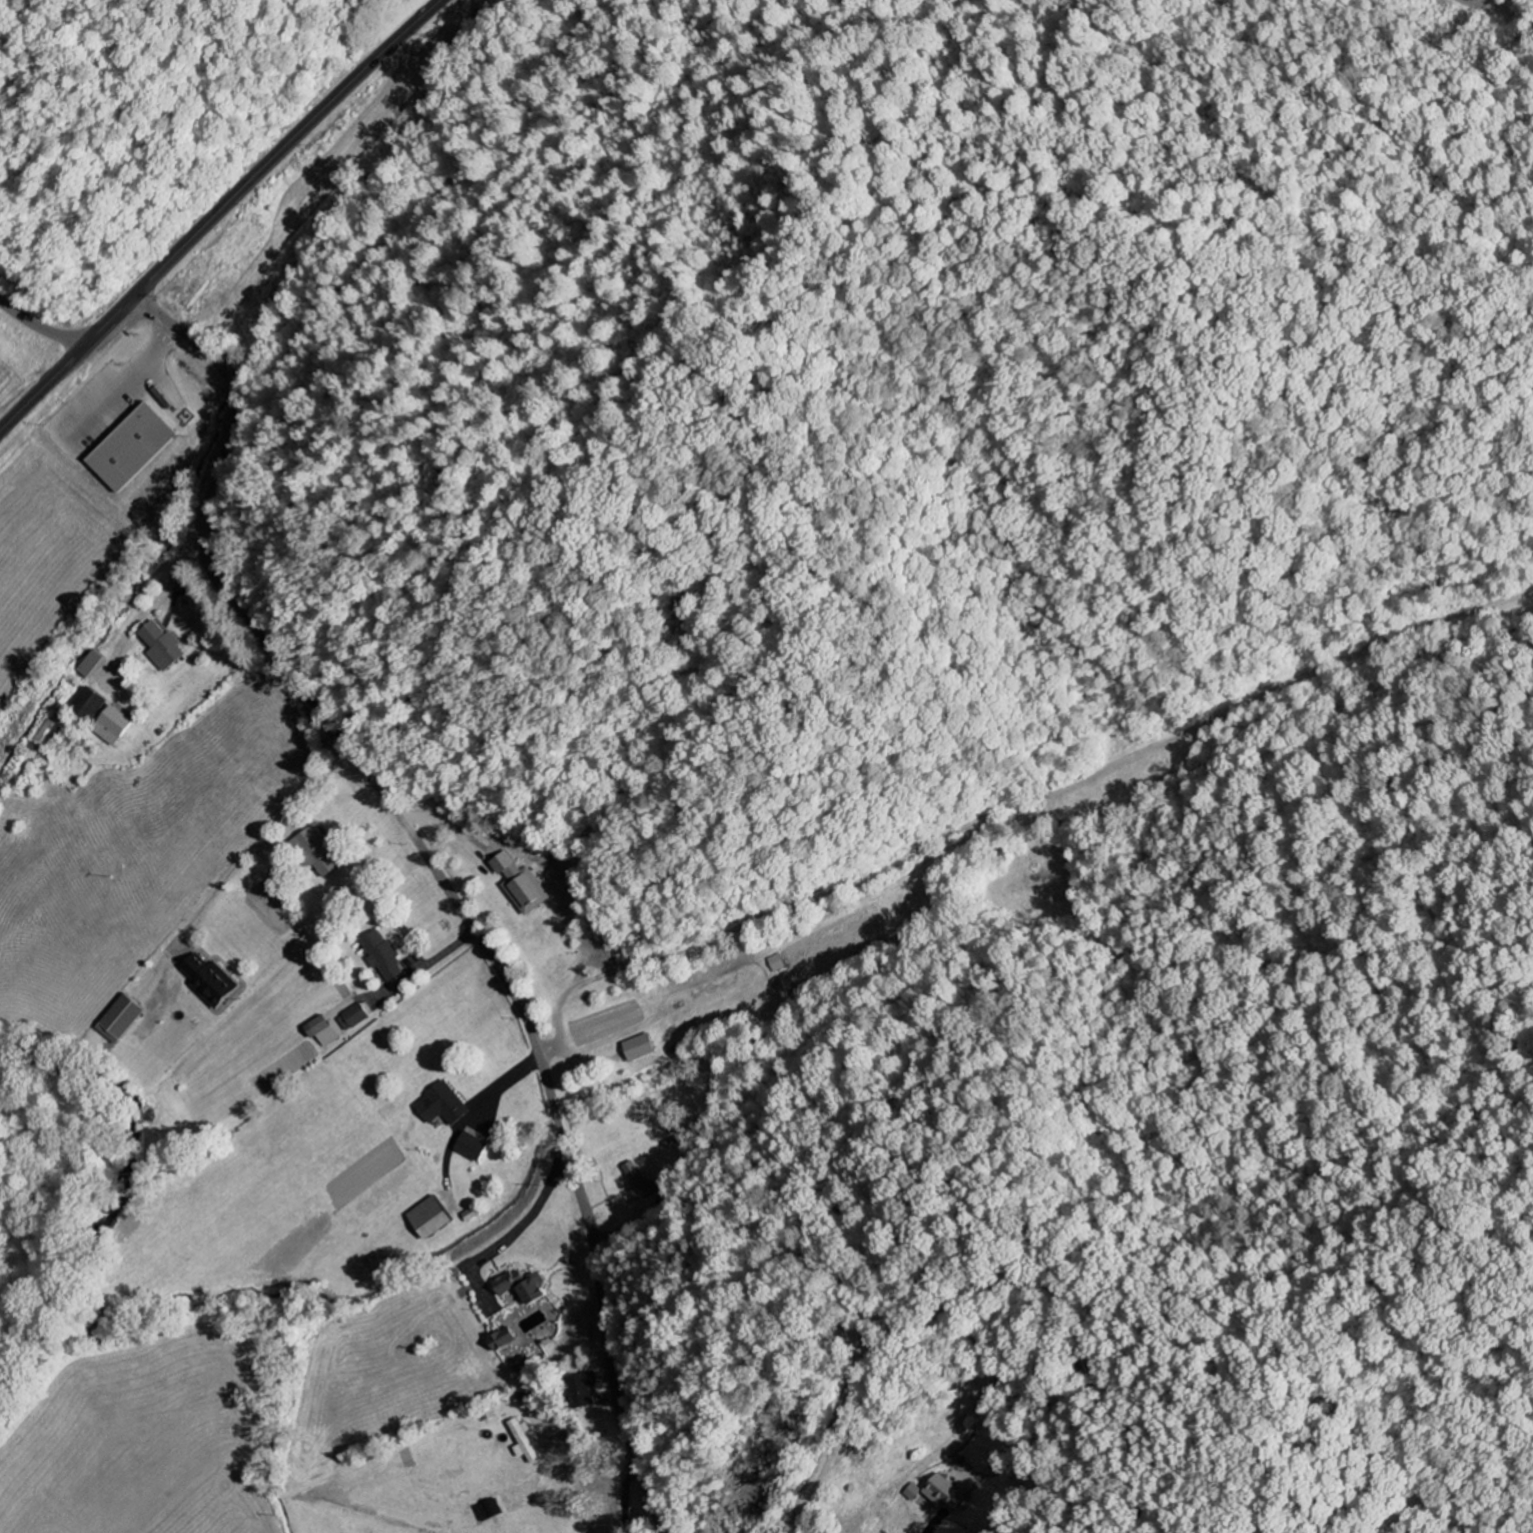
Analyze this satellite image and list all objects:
road: (215, 214)
road: (40, 328)
building: (134, 449)
building: (162, 647)
building: (93, 666)
building: (90, 706)
building: (113, 727)
road: (316, 781)
building: (318, 854)
road: (440, 877)
building: (521, 886)
building: (384, 958)
building: (775, 964)
building: (212, 981)
building: (125, 1019)
building: (355, 1019)
building: (324, 1033)
building: (641, 1049)
building: (444, 1107)
building: (474, 1148)
building: (640, 1181)
building: (432, 1220)
building: (378, 1263)
building: (523, 1288)
building: (505, 1340)
building: (583, 1390)
building: (524, 1442)
building: (913, 1493)
building: (944, 1493)
building: (490, 1511)

